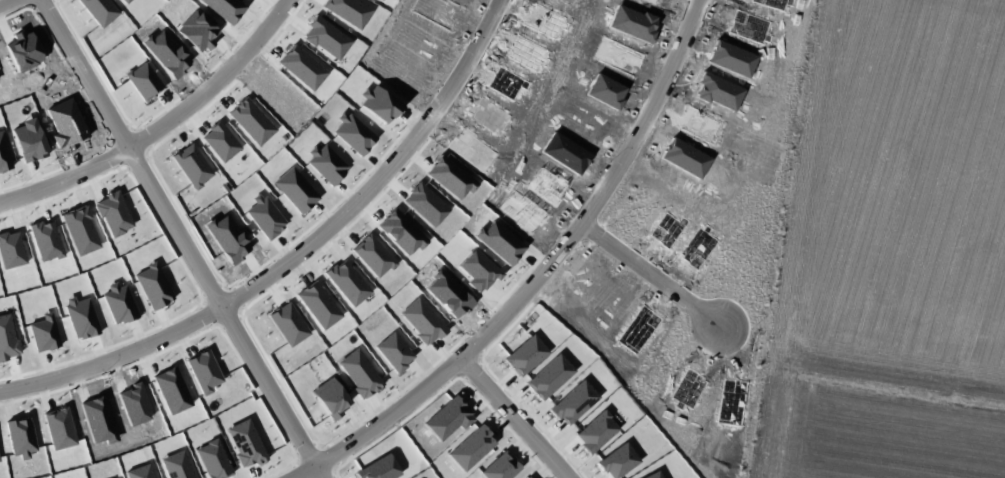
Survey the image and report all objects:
building: (368, 1)
road: (11, 5)
building: (334, 13)
road: (164, 126)
road: (186, 239)
road: (299, 257)
road: (658, 268)
road: (546, 276)
road: (519, 418)
building: (211, 459)
building: (174, 465)

